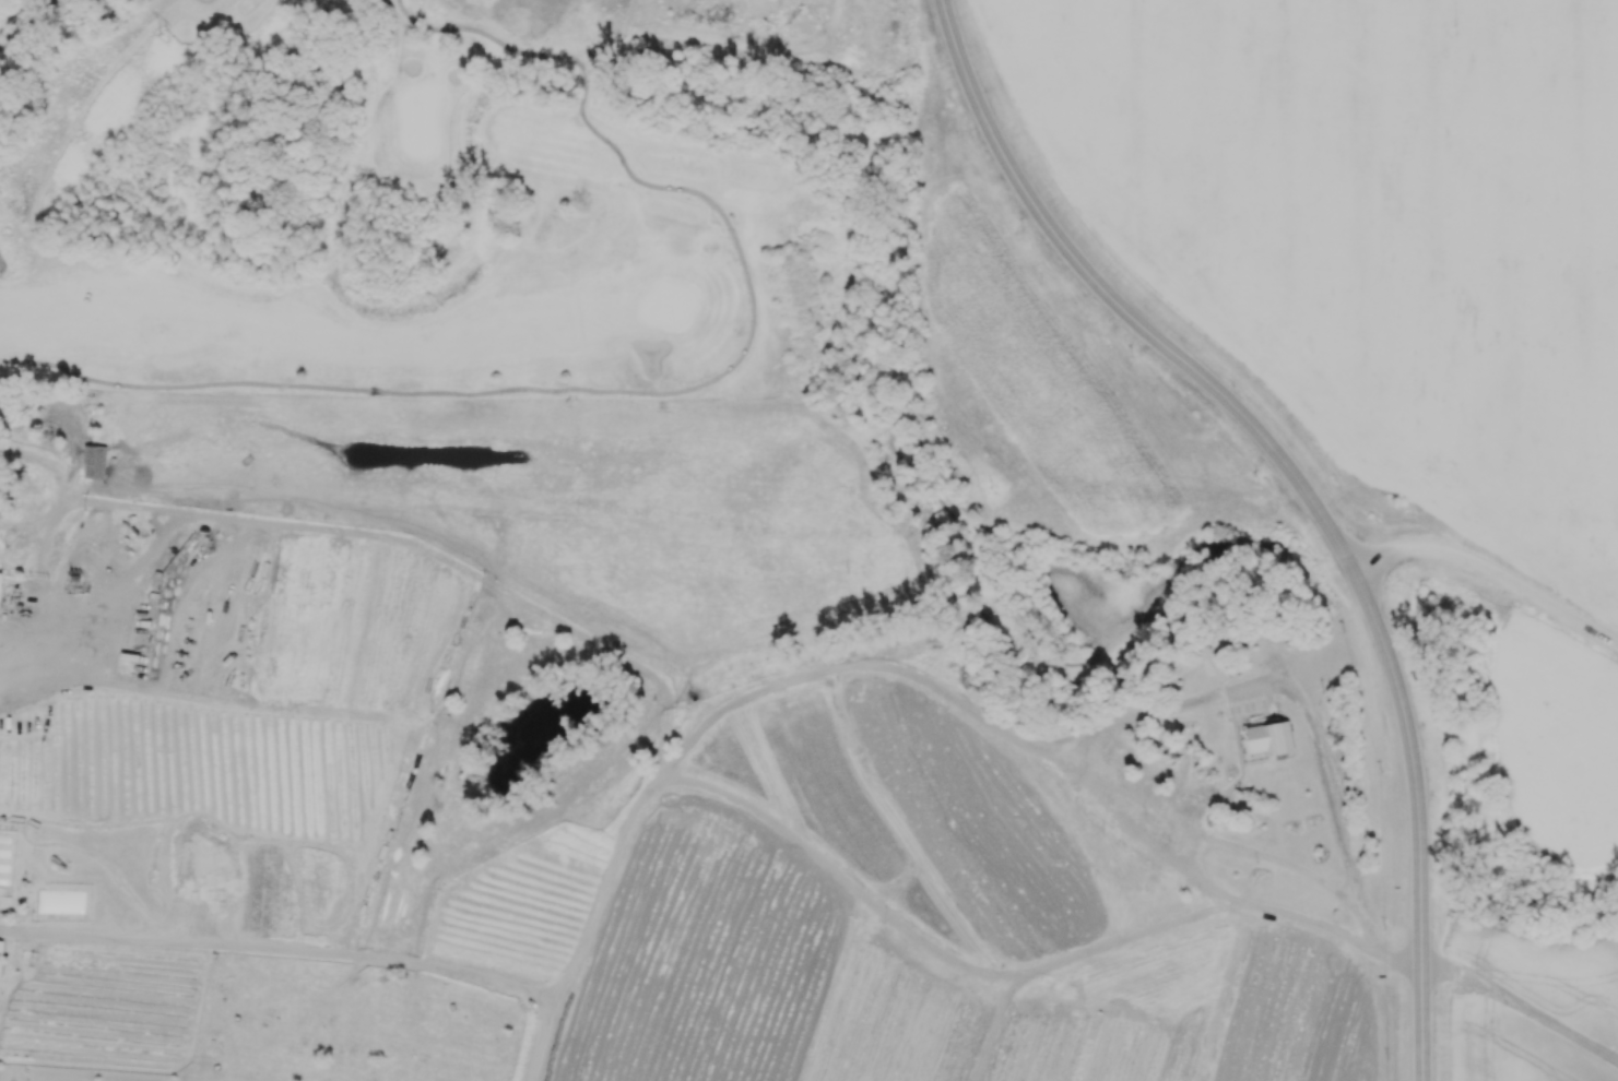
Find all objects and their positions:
road: (205, 2)
road: (492, 38)
power tower: (166, 39)
road: (583, 93)
park: (454, 198)
crop: (1372, 231)
road: (1119, 306)
road: (543, 391)
road: (49, 459)
building: (95, 461)
building: (28, 483)
road: (161, 510)
road: (42, 521)
road: (466, 569)
road: (1491, 571)
road: (113, 572)
building: (0, 586)
crop: (306, 619)
road: (867, 663)
road: (94, 686)
road: (669, 690)
parking lot: (1247, 694)
building: (1271, 737)
road: (1237, 740)
theme park: (673, 746)
road: (1328, 779)
road: (1418, 821)
road: (1179, 843)
road: (613, 853)
crop: (178, 864)
crop: (519, 904)
road: (871, 908)
road: (276, 949)
road: (1390, 949)
building: (2, 955)
crop: (934, 1002)
crop: (108, 1010)
road: (1519, 1013)
road: (540, 1042)

